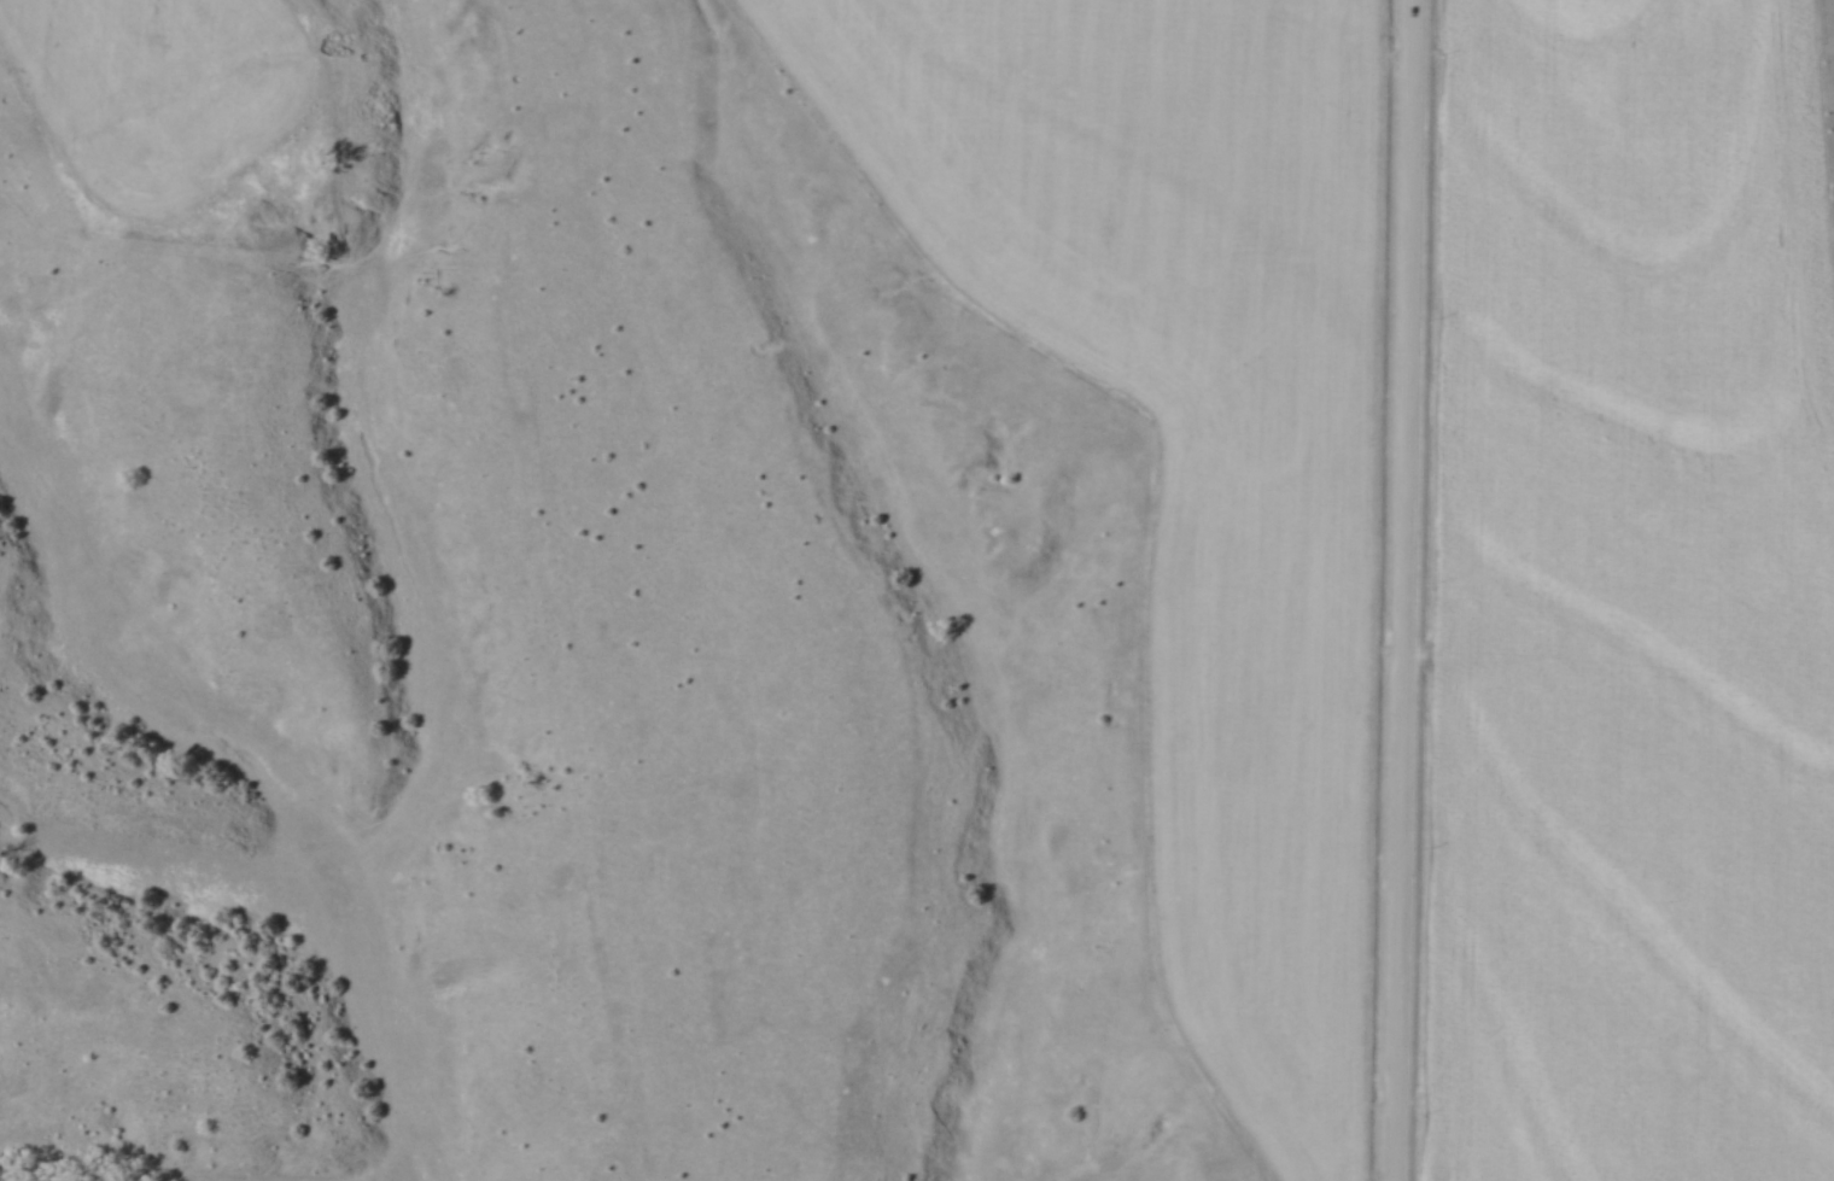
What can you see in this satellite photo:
road: (1404, 590)

